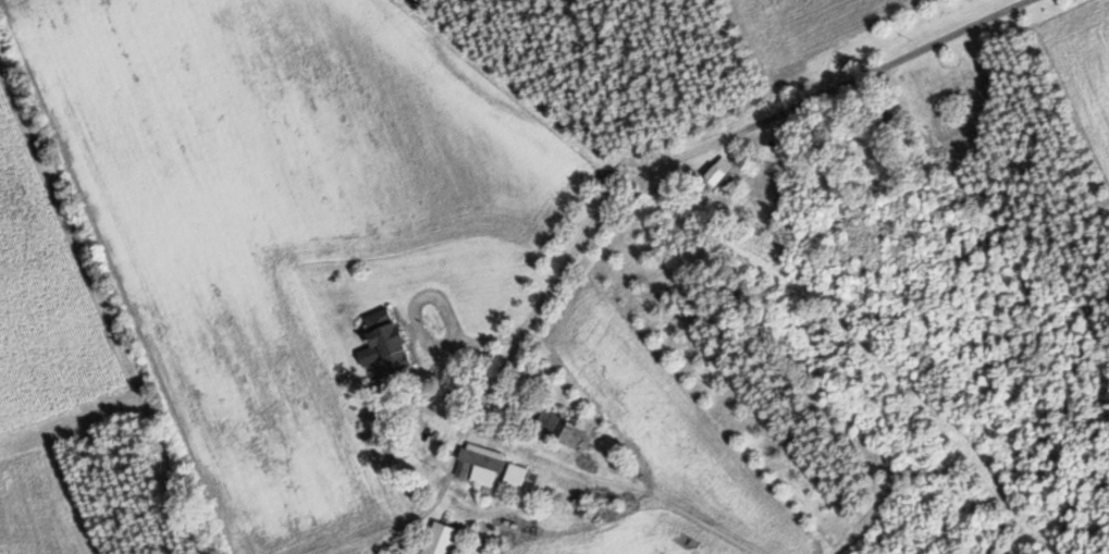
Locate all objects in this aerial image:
road: (773, 79)
building: (886, 122)
building: (722, 171)
building: (389, 341)
building: (560, 427)
building: (484, 464)
building: (517, 476)
building: (447, 539)

